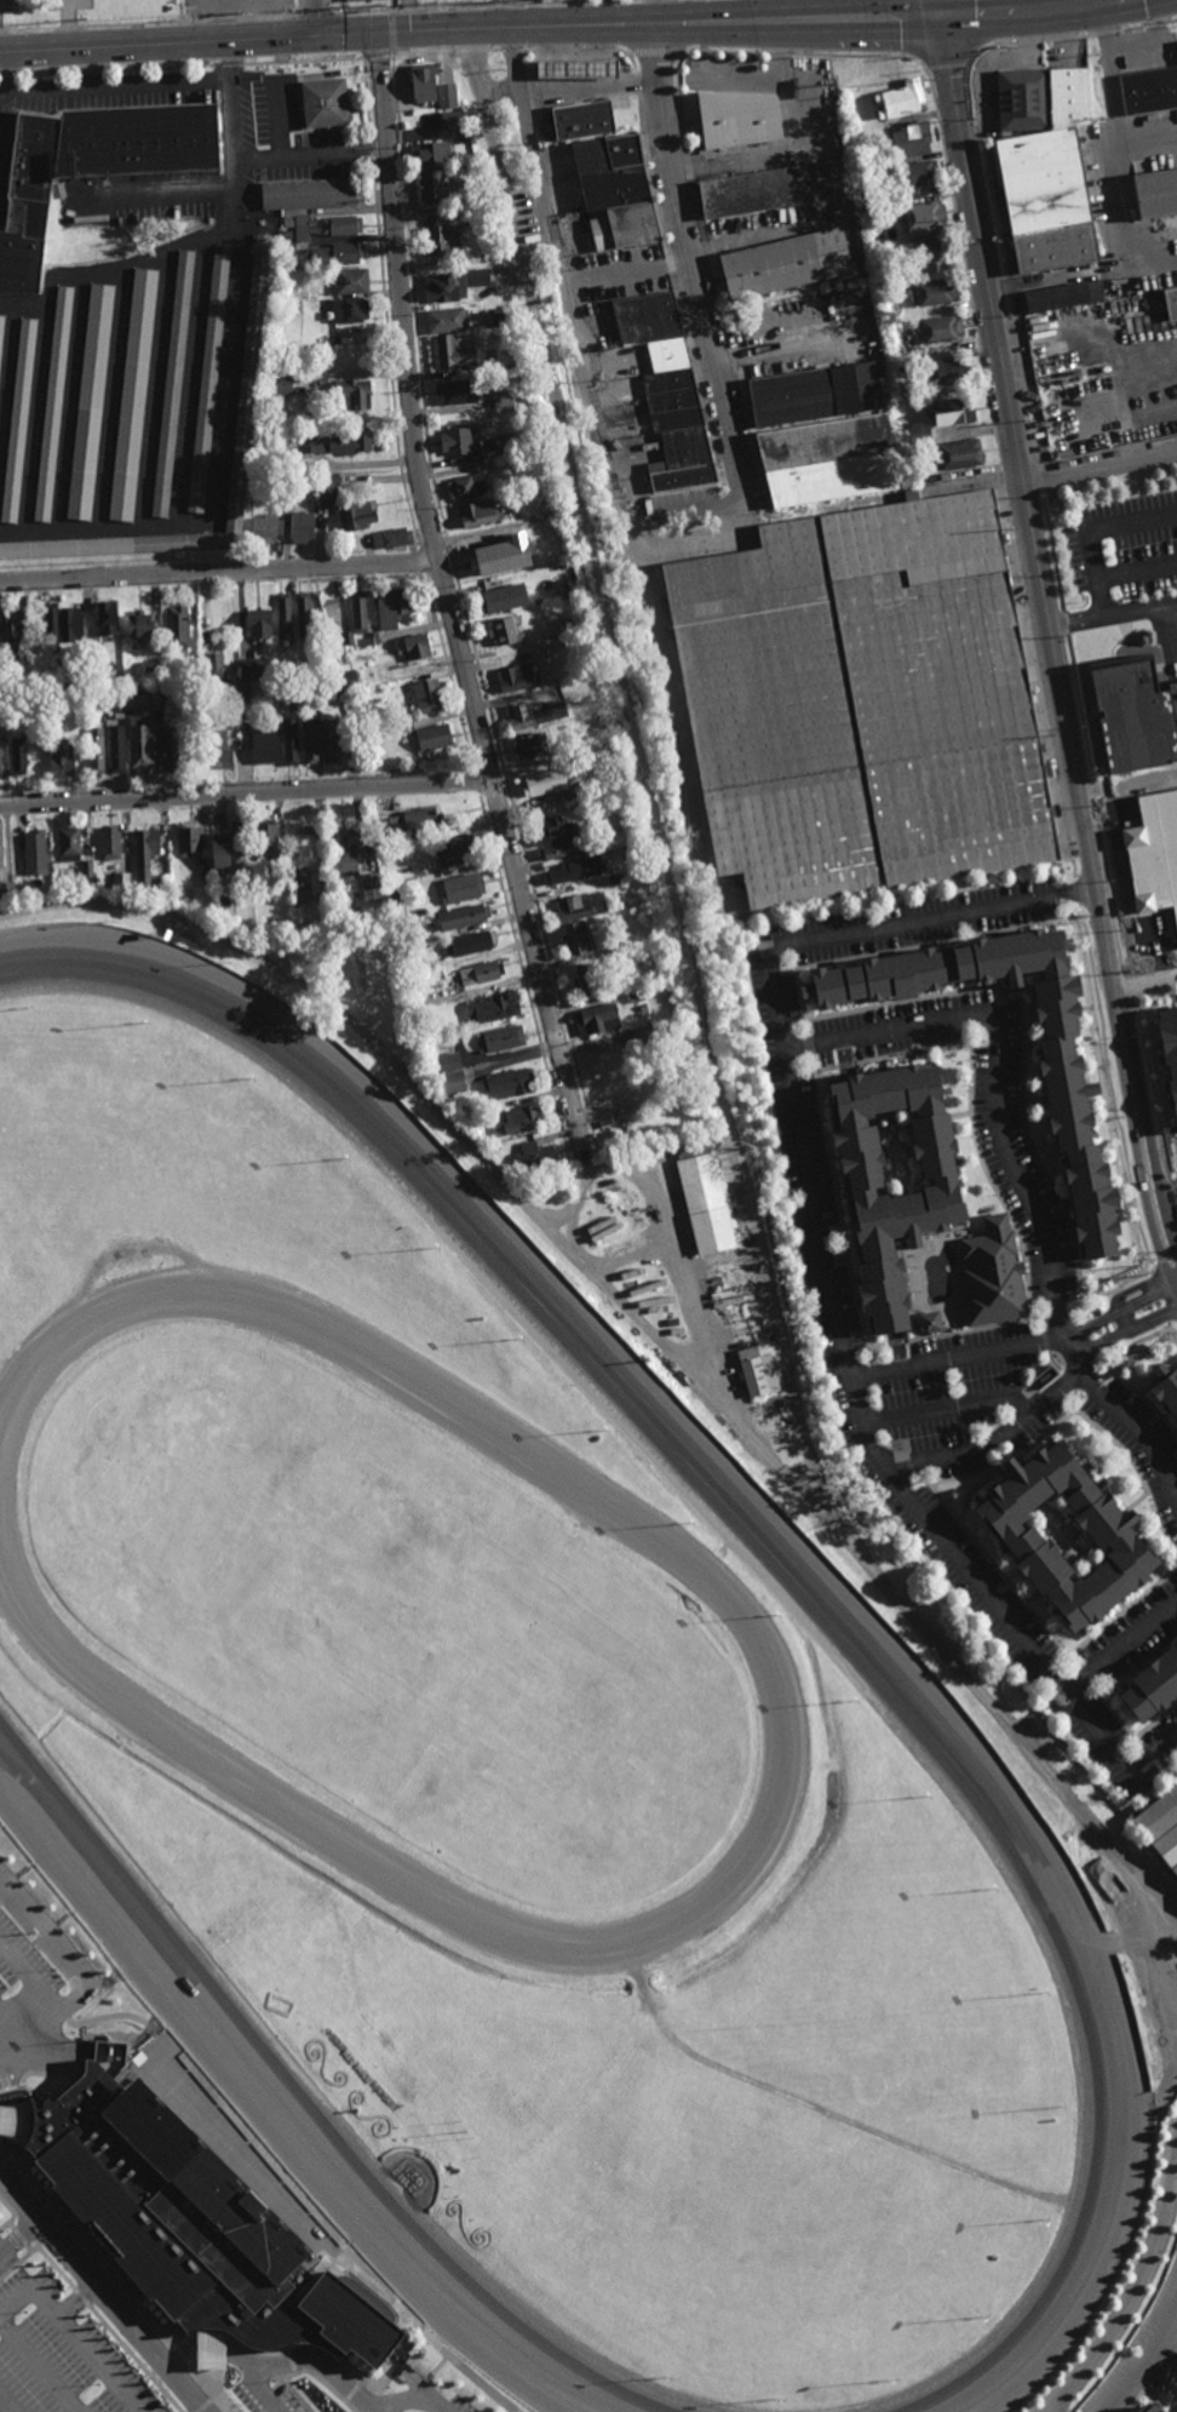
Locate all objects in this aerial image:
power tower: (553, 0)
power tower: (385, 11)
road: (660, 11)
road: (767, 11)
power tower: (241, 15)
road: (1027, 16)
road: (310, 18)
power tower: (80, 23)
traffic signals: (935, 23)
road: (466, 29)
traffic signals: (373, 34)
road: (1070, 38)
road: (561, 50)
road: (620, 50)
road: (472, 51)
road: (498, 51)
road: (654, 52)
road: (719, 52)
road: (777, 55)
road: (860, 57)
road: (2, 67)
road: (88, 68)
building: (573, 68)
road: (947, 68)
building: (424, 82)
road: (588, 82)
road: (132, 85)
building: (1149, 90)
building: (714, 93)
building: (448, 97)
building: (1040, 97)
building: (900, 98)
building: (325, 102)
building: (578, 109)
building: (740, 119)
building: (452, 120)
road: (1115, 127)
building: (561, 133)
building: (909, 139)
road: (297, 153)
building: (431, 154)
road: (495, 154)
road: (256, 157)
building: (91, 167)
building: (915, 174)
building: (828, 179)
building: (434, 187)
road: (207, 190)
building: (754, 191)
building: (614, 193)
building: (309, 194)
building: (1155, 194)
building: (1045, 200)
building: (874, 211)
building: (921, 216)
building: (343, 225)
building: (297, 234)
road: (760, 234)
building: (441, 241)
building: (925, 251)
building: (335, 254)
building: (785, 264)
road: (1003, 264)
road: (1149, 264)
road: (630, 270)
building: (498, 273)
building: (354, 282)
road: (1040, 282)
building: (442, 288)
building: (934, 292)
building: (1056, 297)
building: (1171, 303)
building: (352, 310)
building: (446, 321)
building: (940, 327)
building: (1, 328)
building: (327, 339)
building: (449, 353)
building: (903, 363)
building: (943, 367)
building: (174, 383)
building: (208, 383)
building: (248, 384)
building: (279, 384)
building: (667, 390)
building: (814, 390)
building: (355, 391)
building: (459, 391)
building: (134, 395)
building: (504, 399)
building: (90, 401)
building: (53, 403)
building: (952, 406)
building: (18, 420)
building: (918, 432)
building: (349, 439)
building: (459, 441)
building: (505, 445)
building: (958, 451)
building: (827, 457)
road: (1098, 464)
building: (544, 476)
road: (1041, 479)
building: (327, 485)
building: (466, 486)
building: (289, 493)
building: (478, 511)
building: (355, 515)
road: (672, 515)
building: (300, 526)
building: (264, 527)
road: (1091, 529)
building: (392, 537)
building: (503, 554)
road: (1052, 554)
road: (643, 555)
road: (1137, 569)
road: (218, 572)
building: (569, 586)
building: (504, 597)
road: (446, 601)
building: (391, 607)
building: (326, 609)
road: (1141, 609)
building: (358, 611)
building: (304, 613)
building: (104, 615)
building: (285, 615)
building: (518, 619)
road: (1076, 621)
building: (70, 623)
building: (259, 623)
road: (1064, 623)
building: (177, 624)
building: (138, 625)
building: (50, 626)
building: (570, 626)
building: (15, 629)
building: (503, 630)
building: (348, 637)
building: (415, 647)
road: (1052, 651)
building: (579, 655)
building: (345, 658)
building: (337, 660)
building: (92, 661)
building: (252, 666)
building: (212, 668)
building: (305, 668)
building: (231, 674)
building: (517, 675)
building: (117, 677)
building: (168, 680)
building: (346, 681)
building: (240, 689)
building: (327, 689)
building: (110, 695)
building: (142, 695)
building: (427, 695)
building: (59, 697)
building: (299, 700)
building: (862, 703)
road: (1079, 706)
building: (402, 711)
building: (533, 714)
building: (1133, 717)
building: (435, 737)
building: (291, 740)
building: (331, 740)
building: (2, 741)
building: (311, 744)
building: (218, 745)
building: (528, 745)
building: (140, 746)
building: (266, 746)
building: (96, 749)
building: (116, 749)
building: (172, 749)
building: (567, 752)
building: (18, 755)
road: (641, 757)
building: (62, 758)
building: (541, 781)
building: (576, 789)
road: (1095, 790)
road: (246, 791)
building: (412, 821)
building: (552, 829)
building: (265, 835)
building: (188, 837)
building: (237, 841)
building: (69, 842)
building: (109, 842)
building: (29, 846)
building: (218, 847)
building: (453, 849)
building: (559, 849)
building: (0, 853)
building: (344, 854)
building: (145, 855)
building: (87, 867)
building: (573, 871)
building: (1147, 871)
building: (614, 880)
building: (121, 882)
building: (256, 883)
road: (1112, 883)
building: (369, 884)
building: (19, 886)
building: (230, 886)
building: (165, 887)
building: (302, 887)
building: (461, 887)
building: (6, 890)
building: (189, 893)
building: (397, 893)
building: (578, 906)
building: (463, 916)
building: (166, 934)
building: (576, 938)
building: (471, 943)
building: (625, 944)
building: (612, 958)
building: (404, 961)
building: (480, 972)
road: (1146, 975)
road: (1129, 978)
building: (586, 980)
building: (413, 985)
building: (636, 995)
building: (488, 1009)
building: (639, 1009)
building: (597, 1020)
building: (426, 1030)
building: (644, 1036)
building: (499, 1039)
building: (1170, 1054)
building: (442, 1059)
building: (449, 1083)
building: (507, 1083)
building: (612, 1089)
building: (1070, 1096)
building: (641, 1100)
road: (1153, 1105)
building: (516, 1121)
building: (465, 1123)
building: (494, 1147)
building: (533, 1157)
road: (1015, 1171)
building: (907, 1202)
building: (705, 1203)
road: (955, 1225)
road: (826, 1272)
building: (993, 1276)
road: (914, 1279)
building: (930, 1324)
road: (1172, 1330)
road: (662, 1348)
road: (1016, 1352)
building: (758, 1370)
road: (791, 1375)
building: (1166, 1390)
road: (943, 1406)
road: (994, 1438)
building: (1112, 1537)
track: (34, 1623)
road: (1121, 1650)
track: (866, 1654)
building: (1153, 1689)
building: (1149, 1820)
building: (1165, 1858)
parking lot: (21, 1969)
road: (76, 1973)
road: (30, 1977)
road: (8, 2023)
track: (303, 2107)
road: (7, 2152)
road: (11, 2208)
building: (196, 2224)
road: (11, 2225)
road: (4, 2227)
road: (52, 2230)
road: (19, 2235)
road: (19, 2236)
road: (30, 2247)
road: (98, 2258)
road: (22, 2262)
road: (1136, 2285)
road: (105, 2291)
road: (48, 2305)
road: (216, 2351)
parking lot: (61, 2353)
road: (194, 2353)
road: (308, 2359)
road: (178, 2360)
road: (1144, 2361)
road: (96, 2362)
road: (304, 2370)
road: (208, 2383)
road: (259, 2390)
road: (406, 2397)
parking lot: (268, 2399)
parking lot: (449, 2405)
building: (1152, 2408)
road: (373, 2411)
road: (1052, 2411)

